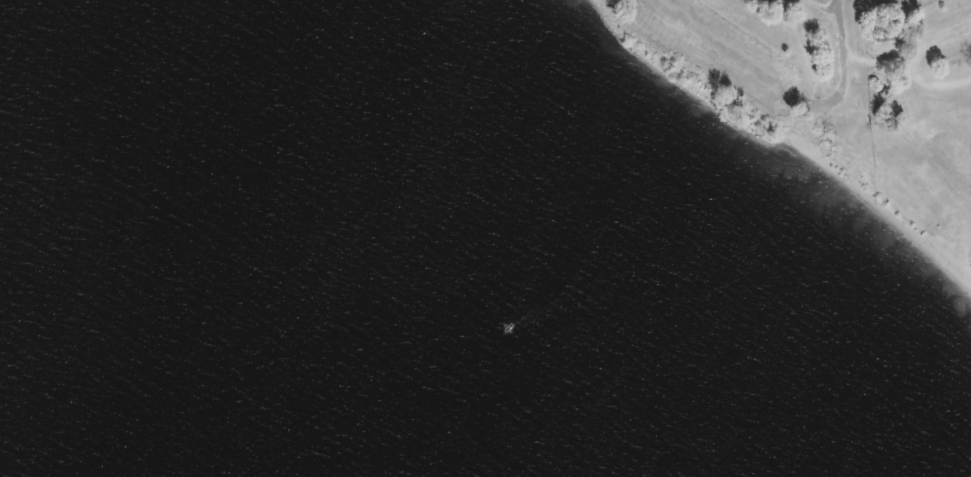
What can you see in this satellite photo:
road: (815, 17)
building: (883, 34)
road: (935, 43)
parking lot: (717, 49)
road: (874, 62)
road: (933, 84)
road: (784, 93)
park: (834, 99)

